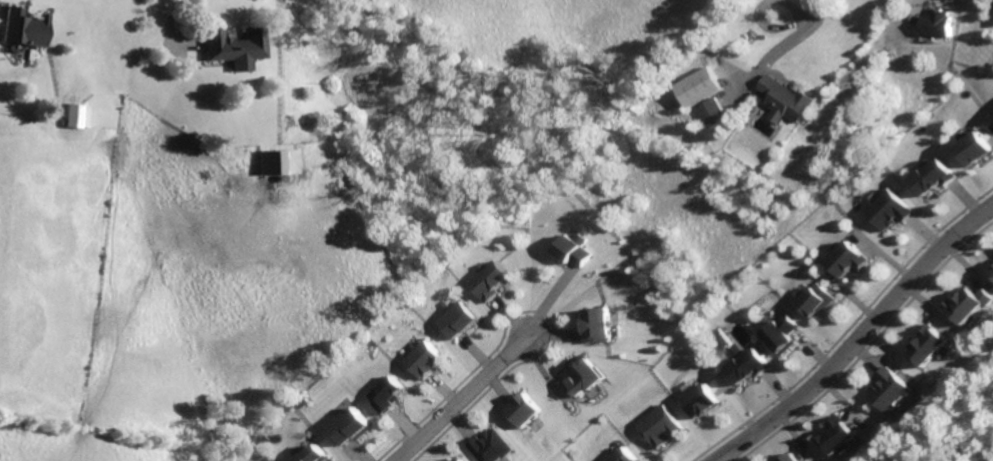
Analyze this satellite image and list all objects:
road: (1, 12)
building: (935, 23)
road: (789, 25)
building: (22, 27)
road: (171, 33)
building: (233, 48)
road: (772, 52)
road: (757, 80)
building: (697, 86)
building: (783, 100)
building: (76, 114)
building: (715, 117)
building: (974, 149)
building: (278, 162)
building: (934, 176)
building: (891, 211)
crop: (284, 213)
building: (573, 249)
building: (849, 259)
building: (992, 271)
building: (495, 283)
road: (550, 298)
building: (818, 300)
building: (968, 304)
building: (464, 321)
building: (598, 326)
building: (782, 336)
road: (856, 337)
building: (928, 345)
building: (426, 360)
building: (746, 366)
building: (589, 375)
building: (890, 391)
building: (386, 395)
road: (459, 398)
building: (699, 401)
building: (529, 411)
building: (347, 426)
building: (661, 426)
building: (839, 436)
building: (492, 447)
building: (311, 454)
building: (627, 455)
building: (791, 457)
building: (458, 460)

